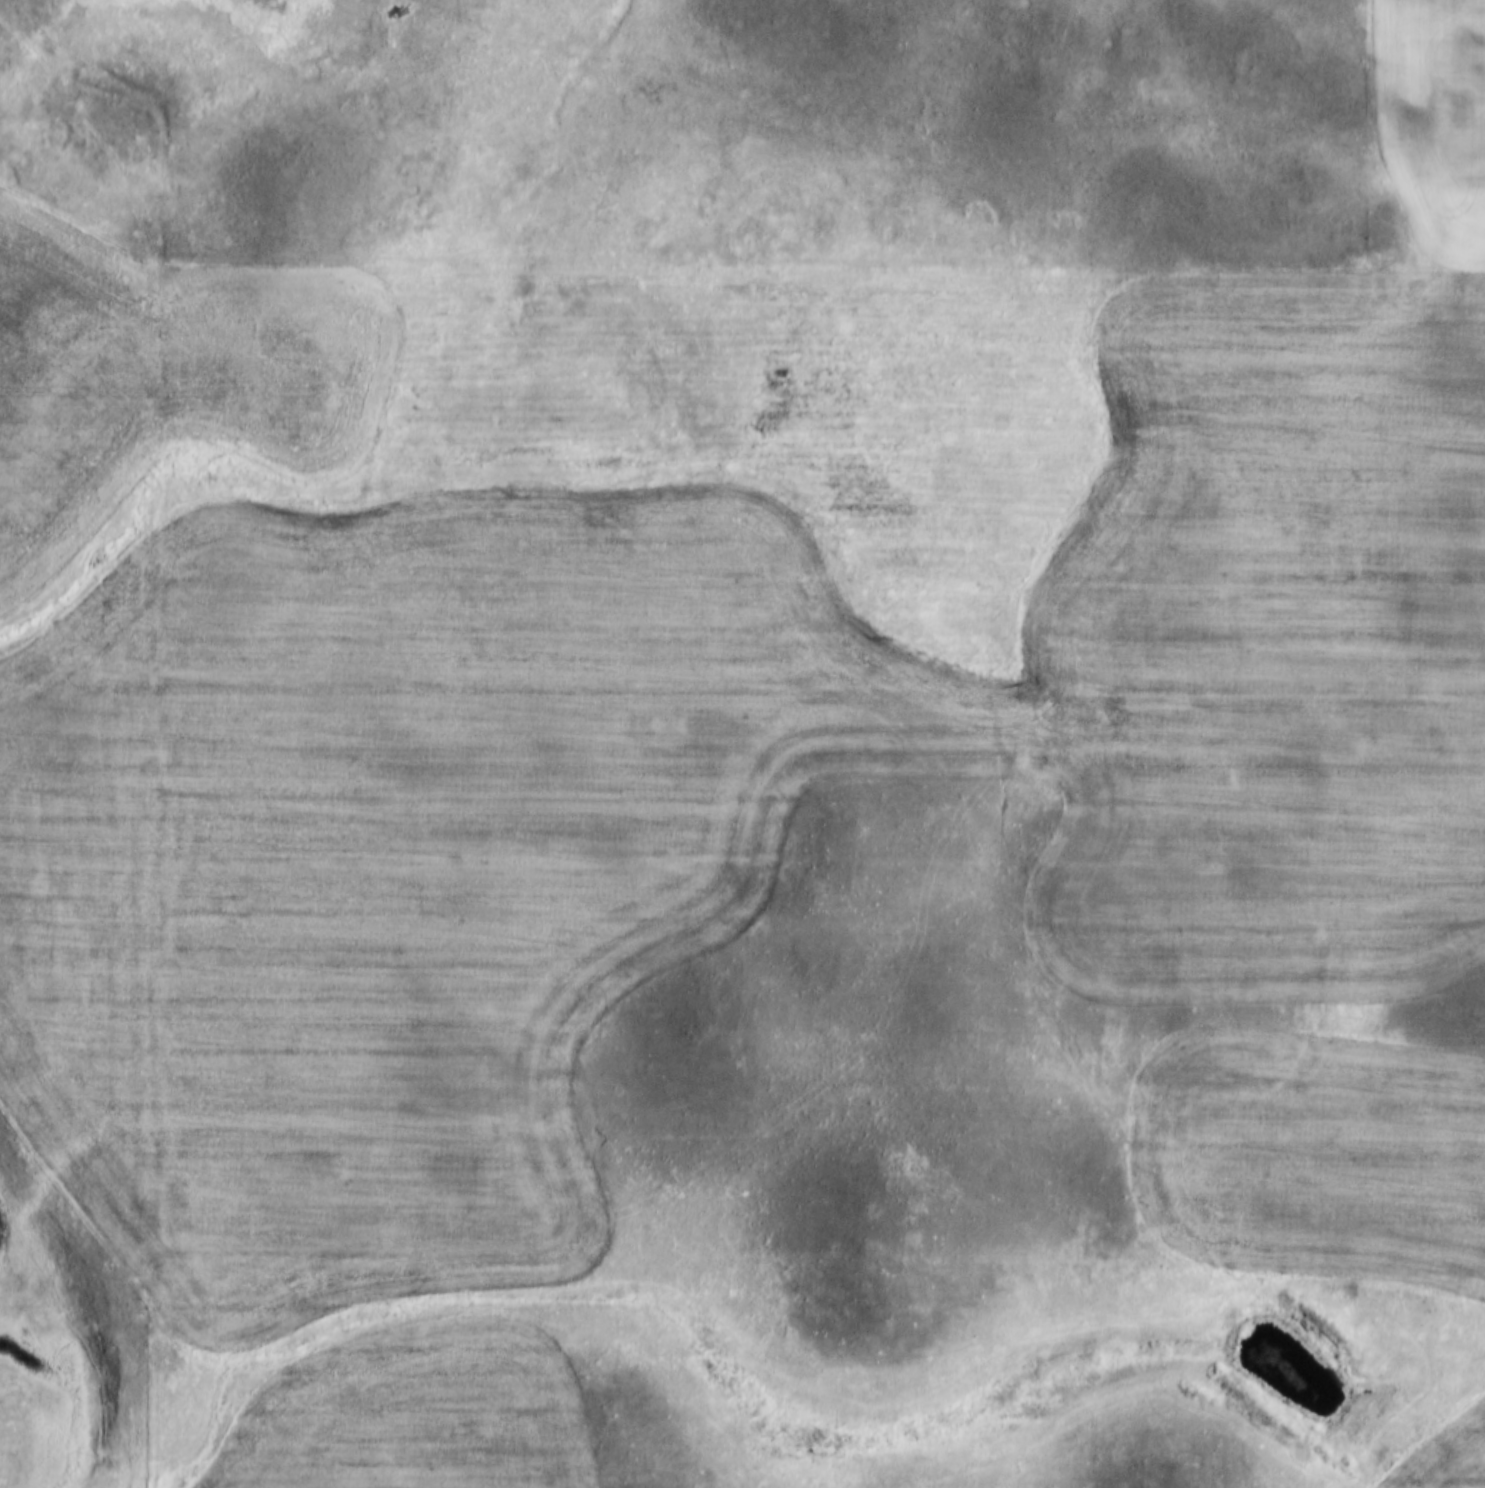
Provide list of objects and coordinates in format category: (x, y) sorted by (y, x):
road: (94, 129)

